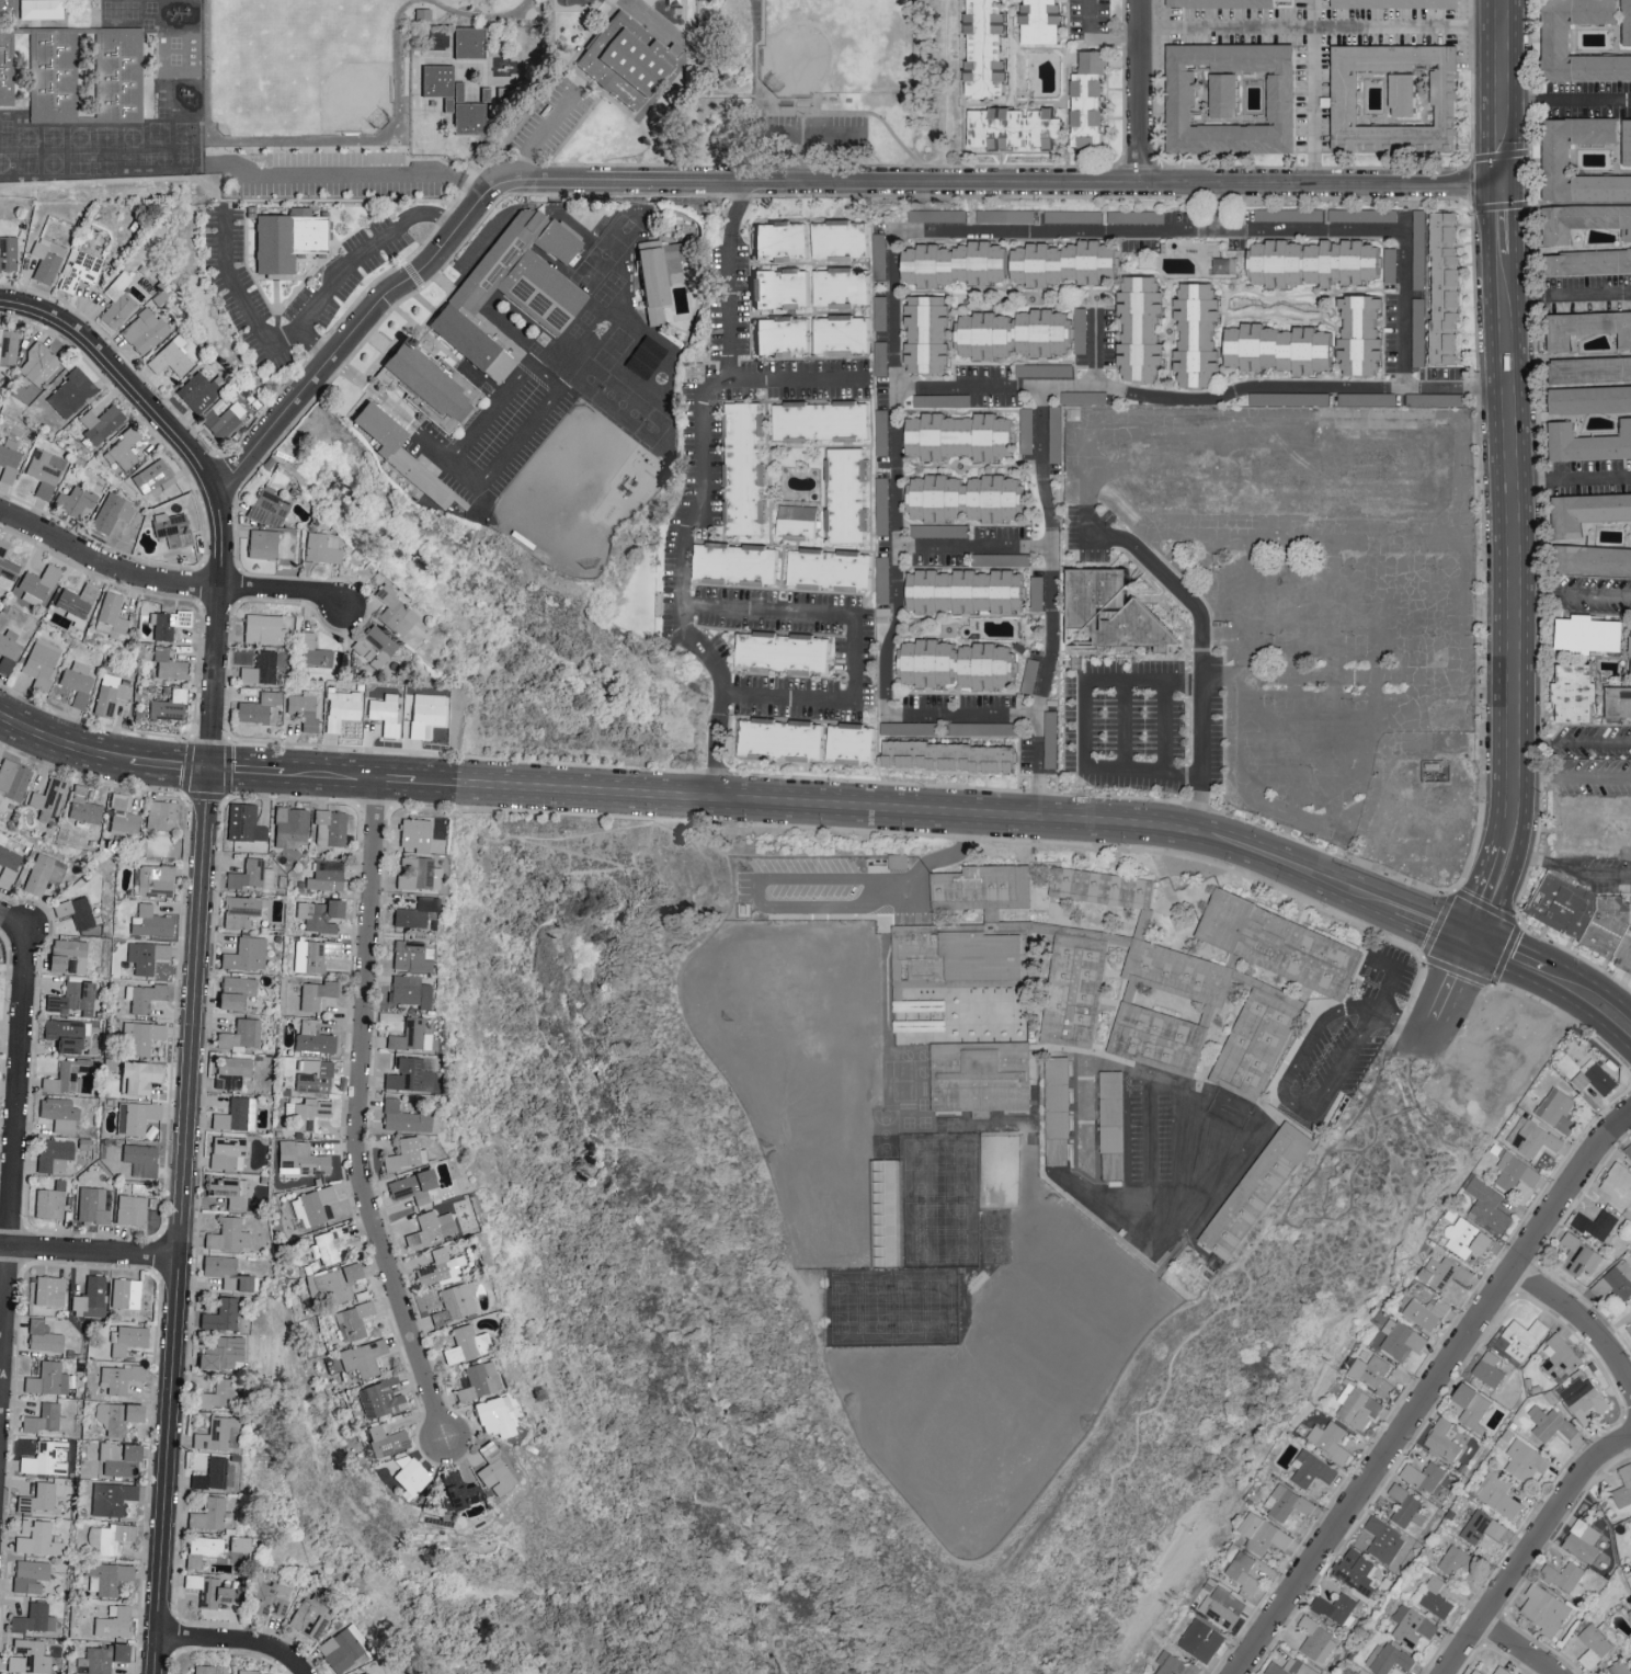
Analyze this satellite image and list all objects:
building: (1220, 3)
building: (1394, 3)
building: (10, 8)
building: (38, 9)
building: (1039, 22)
building: (1626, 23)
road: (1322, 25)
building: (1554, 39)
road: (1093, 42)
park: (837, 47)
building: (984, 48)
building: (627, 61)
building: (1091, 62)
building: (53, 73)
building: (470, 86)
park: (751, 86)
road: (1138, 91)
road: (1314, 91)
road: (1505, 91)
building: (1392, 96)
building: (1229, 99)
road: (1567, 100)
building: (1085, 112)
parking lot: (554, 122)
building: (1011, 127)
road: (544, 136)
road: (809, 136)
road: (837, 136)
parking lot: (813, 137)
building: (1626, 143)
building: (1555, 160)
road: (362, 173)
road: (1004, 181)
road: (737, 205)
road: (1214, 206)
road: (1227, 206)
building: (1285, 215)
building: (936, 216)
building: (1004, 216)
building: (1361, 216)
building: (1134, 217)
building: (1584, 221)
road: (1378, 229)
road: (1043, 230)
building: (1417, 238)
building: (285, 239)
building: (782, 241)
building: (843, 241)
building: (8, 253)
building: (878, 257)
building: (45, 259)
building: (1589, 262)
building: (1310, 263)
building: (951, 264)
building: (1060, 264)
building: (1389, 265)
building: (1223, 266)
building: (78, 270)
building: (660, 282)
building: (1442, 287)
building: (782, 288)
building: (843, 288)
road: (1569, 292)
building: (513, 298)
building: (117, 310)
road: (304, 312)
building: (878, 314)
building: (1138, 328)
building: (1587, 328)
road: (353, 329)
building: (142, 331)
building: (924, 334)
building: (1012, 334)
building: (843, 335)
building: (1194, 335)
building: (1358, 335)
building: (784, 337)
road: (312, 341)
building: (1079, 343)
road: (527, 345)
building: (8, 346)
road: (1095, 348)
building: (1276, 349)
building: (171, 356)
building: (879, 358)
building: (37, 364)
building: (1589, 371)
road: (122, 376)
road: (795, 378)
building: (429, 380)
road: (372, 388)
building: (197, 391)
building: (69, 392)
road: (552, 395)
building: (1083, 397)
road: (1200, 399)
building: (1348, 400)
building: (1589, 400)
building: (932, 401)
road: (493, 407)
building: (221, 418)
building: (822, 422)
building: (99, 423)
building: (880, 432)
building: (1025, 432)
building: (1054, 434)
building: (957, 437)
building: (1587, 443)
building: (124, 448)
building: (400, 455)
road: (446, 456)
building: (8, 460)
building: (746, 469)
building: (43, 471)
road: (896, 474)
building: (151, 477)
road: (702, 477)
road: (1570, 477)
building: (848, 497)
building: (962, 499)
building: (73, 501)
building: (267, 506)
building: (110, 512)
building: (1586, 512)
building: (800, 513)
building: (171, 529)
building: (799, 529)
road: (1127, 539)
building: (261, 544)
building: (321, 547)
road: (974, 547)
building: (1014, 559)
building: (1594, 560)
road: (1509, 563)
building: (738, 565)
building: (5, 567)
building: (832, 571)
road: (166, 580)
building: (35, 585)
building: (962, 592)
building: (1035, 593)
road: (1570, 593)
building: (76, 600)
road: (1050, 602)
road: (766, 610)
building: (394, 611)
building: (1111, 614)
building: (110, 617)
building: (166, 623)
building: (262, 629)
building: (1587, 635)
building: (374, 646)
building: (7, 650)
building: (313, 652)
building: (785, 654)
road: (854, 658)
building: (1630, 660)
building: (39, 663)
building: (168, 664)
building: (954, 665)
building: (259, 669)
building: (1028, 676)
road: (1142, 680)
building: (76, 683)
building: (1572, 694)
road: (788, 696)
building: (109, 698)
building: (1617, 703)
building: (167, 706)
building: (256, 709)
building: (304, 709)
building: (341, 709)
building: (385, 714)
building: (424, 714)
road: (963, 716)
road: (1201, 719)
road: (1084, 724)
road: (1124, 725)
road: (1164, 727)
building: (785, 741)
road: (1569, 744)
building: (854, 745)
building: (1048, 745)
road: (717, 755)
building: (946, 756)
road: (1143, 771)
building: (1439, 777)
building: (12, 779)
road: (1569, 781)
road: (645, 795)
building: (48, 799)
road: (1198, 804)
building: (82, 807)
building: (1593, 808)
building: (160, 815)
building: (121, 816)
building: (243, 822)
building: (289, 825)
building: (329, 828)
building: (413, 833)
building: (250, 845)
building: (1594, 845)
building: (1407, 855)
building: (897, 861)
road: (1537, 861)
building: (8, 865)
road: (1605, 869)
building: (43, 873)
building: (415, 873)
building: (251, 874)
building: (326, 876)
building: (152, 877)
road: (1384, 889)
building: (980, 890)
building: (1099, 892)
road: (807, 903)
building: (240, 910)
building: (75, 911)
building: (413, 911)
road: (1375, 913)
road: (4, 914)
building: (319, 914)
building: (148, 921)
building: (1583, 924)
building: (1278, 947)
building: (244, 954)
building: (312, 954)
building: (145, 955)
building: (66, 956)
building: (409, 956)
building: (948, 969)
parking lot: (1389, 969)
road: (1399, 975)
road: (1552, 977)
road: (1384, 984)
building: (233, 990)
building: (407, 991)
road: (1447, 991)
building: (315, 993)
building: (142, 995)
building: (71, 998)
building: (1164, 1012)
road: (1383, 1023)
building: (65, 1033)
building: (239, 1034)
building: (409, 1035)
building: (139, 1036)
building: (311, 1038)
building: (1516, 1048)
building: (229, 1071)
building: (313, 1073)
parking lot: (1322, 1073)
building: (137, 1074)
building: (407, 1074)
building: (67, 1075)
building: (981, 1078)
road: (1154, 1078)
building: (1595, 1079)
road: (189, 1082)
road: (605, 1089)
building: (1558, 1112)
building: (309, 1113)
road: (1309, 1113)
building: (58, 1114)
building: (231, 1114)
building: (1056, 1114)
building: (135, 1117)
road: (360, 1117)
building: (401, 1118)
building: (1113, 1127)
building: (1530, 1139)
building: (1628, 1151)
road: (12, 1152)
building: (226, 1152)
building: (53, 1154)
building: (403, 1154)
building: (301, 1158)
road: (1150, 1158)
building: (139, 1159)
road: (1085, 1163)
road: (1219, 1169)
building: (1514, 1172)
building: (1616, 1186)
building: (412, 1187)
building: (226, 1189)
building: (1255, 1193)
building: (49, 1200)
building: (91, 1205)
building: (311, 1205)
building: (1486, 1206)
building: (129, 1209)
building: (1596, 1225)
building: (430, 1228)
building: (227, 1234)
building: (1468, 1239)
building: (328, 1244)
road: (89, 1251)
building: (1579, 1256)
building: (438, 1268)
building: (224, 1272)
building: (1442, 1273)
building: (335, 1282)
building: (1615, 1282)
building: (48, 1290)
building: (124, 1292)
building: (89, 1295)
building: (455, 1302)
building: (1426, 1312)
building: (218, 1314)
building: (352, 1320)
road: (1579, 1322)
building: (1629, 1329)
road: (1191, 1333)
building: (41, 1336)
building: (126, 1339)
building: (1519, 1340)
building: (1403, 1342)
building: (465, 1344)
building: (218, 1353)
building: (362, 1357)
building: (1558, 1357)
building: (1487, 1369)
building: (1372, 1375)
building: (118, 1377)
building: (47, 1379)
building: (477, 1380)
road: (1430, 1390)
building: (214, 1394)
building: (1583, 1400)
building: (1356, 1407)
building: (1470, 1407)
building: (116, 1416)
building: (494, 1416)
building: (44, 1419)
building: (1549, 1424)
building: (217, 1434)
building: (1442, 1439)
building: (384, 1440)
building: (1328, 1440)
building: (43, 1459)
building: (117, 1459)
building: (1524, 1461)
building: (492, 1470)
building: (1311, 1470)
building: (404, 1472)
building: (214, 1474)
building: (1423, 1476)
building: (1623, 1488)
building: (454, 1490)
building: (1497, 1494)
building: (37, 1498)
building: (111, 1498)
building: (1286, 1503)
building: (1405, 1507)
building: (209, 1515)
building: (1481, 1527)
building: (1263, 1535)
building: (107, 1537)
building: (36, 1538)
building: (1383, 1541)
building: (1582, 1541)
road: (1530, 1548)
building: (201, 1549)
building: (1456, 1560)
building: (205, 1561)
building: (1356, 1571)
building: (1242, 1572)
building: (28, 1575)
building: (107, 1576)
building: (1563, 1578)
building: (206, 1590)
building: (267, 1596)
building: (1434, 1598)
building: (1222, 1607)
building: (1335, 1608)
building: (1543, 1609)
building: (309, 1616)
building: (33, 1618)
building: (112, 1621)
building: (1411, 1626)
building: (1200, 1641)
building: (1315, 1641)
building: (1596, 1643)
road: (237, 1644)
road: (891, 1644)
building: (340, 1648)
road: (1513, 1650)
building: (27, 1656)
building: (99, 1659)
building: (1387, 1659)
building: (1174, 1665)
building: (1290, 1667)
building: (1618, 1669)
building: (202, 1670)
building: (1499, 1671)
building: (247, 1672)
building: (1474, 1672)
building: (364, 1673)
building: (1355, 1673)

